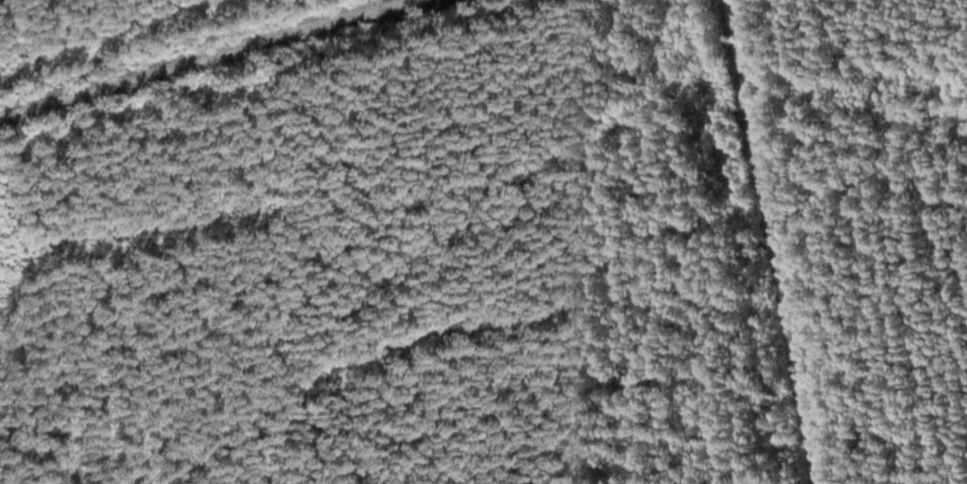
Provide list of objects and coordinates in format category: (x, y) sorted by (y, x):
road: (218, 61)
road: (786, 242)

